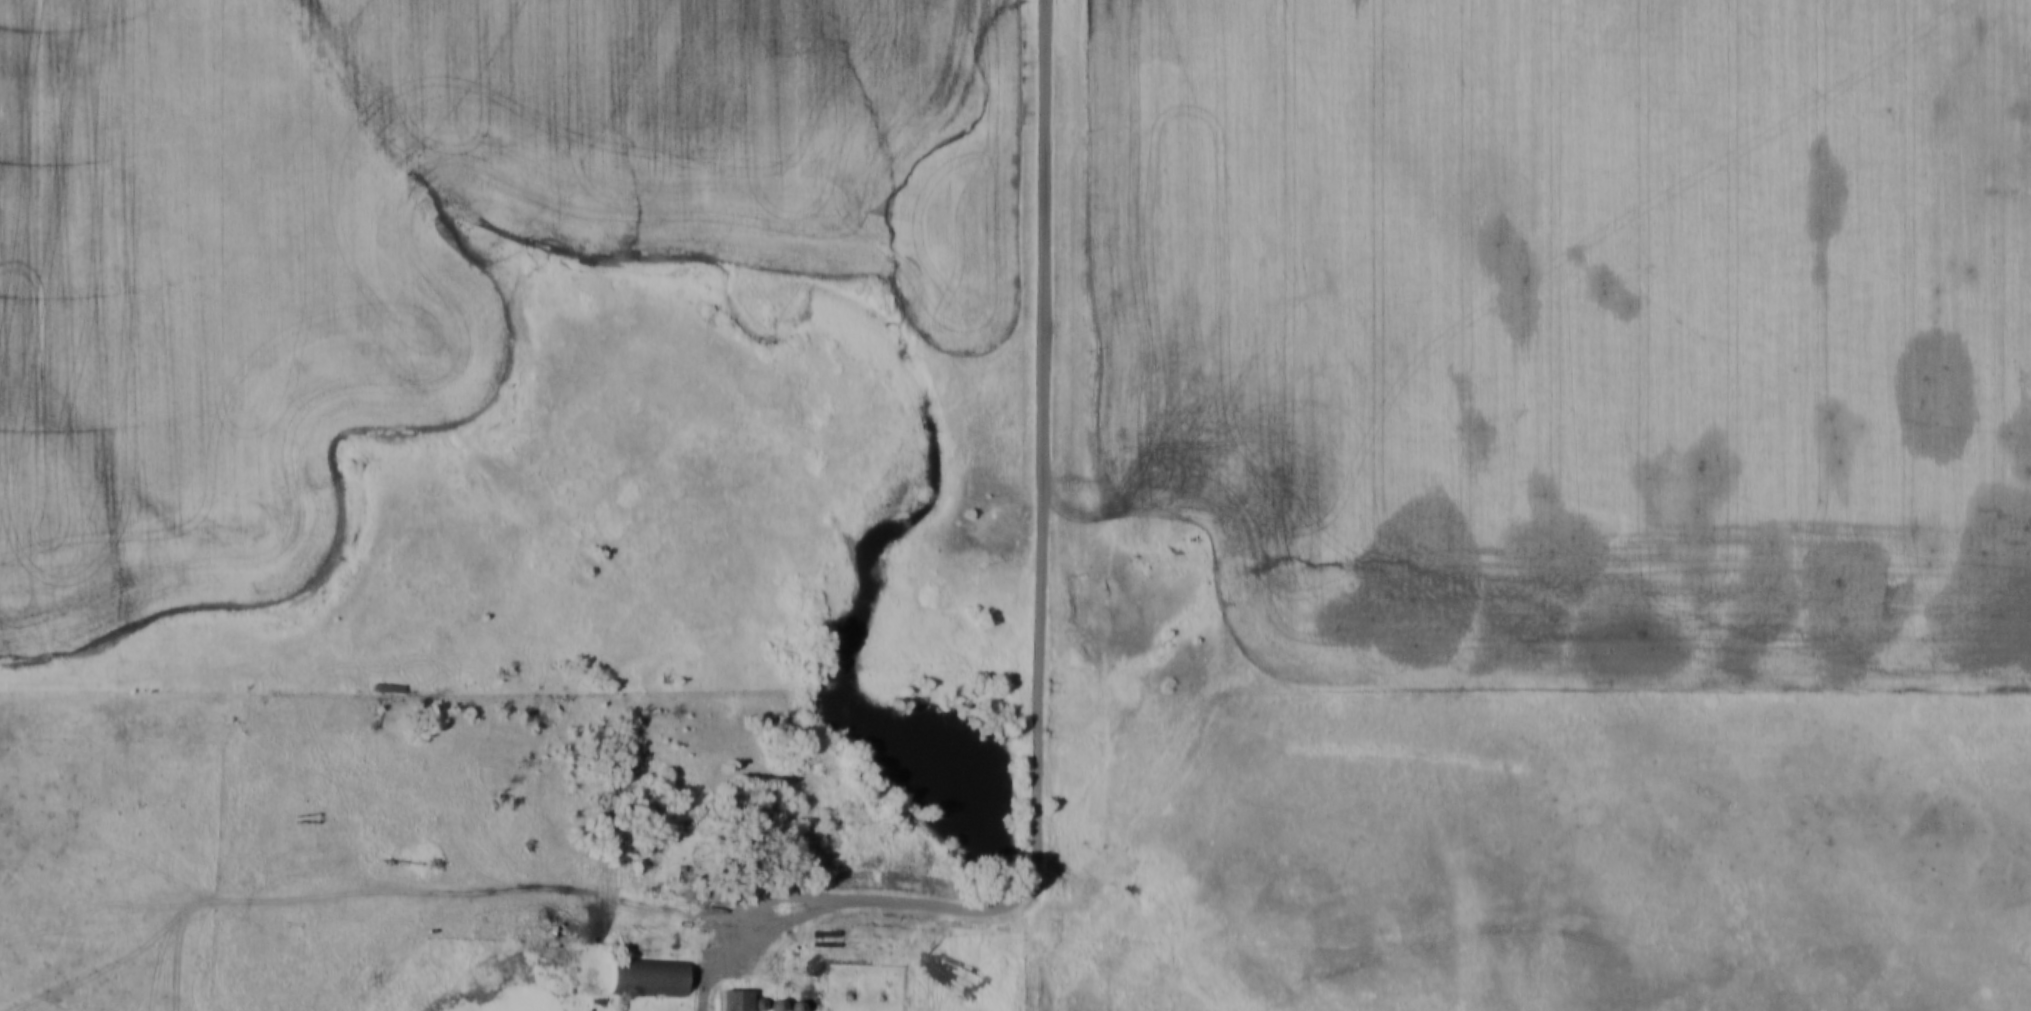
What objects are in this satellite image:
crop: (1622, 308)
road: (1038, 611)
building: (385, 688)
building: (756, 825)
building: (706, 885)
building: (775, 965)
building: (646, 977)
building: (731, 1000)
building: (756, 1003)
silo: (756, 1003)
building: (772, 1005)
silo: (772, 1005)
building: (791, 1006)
silo: (791, 1006)

